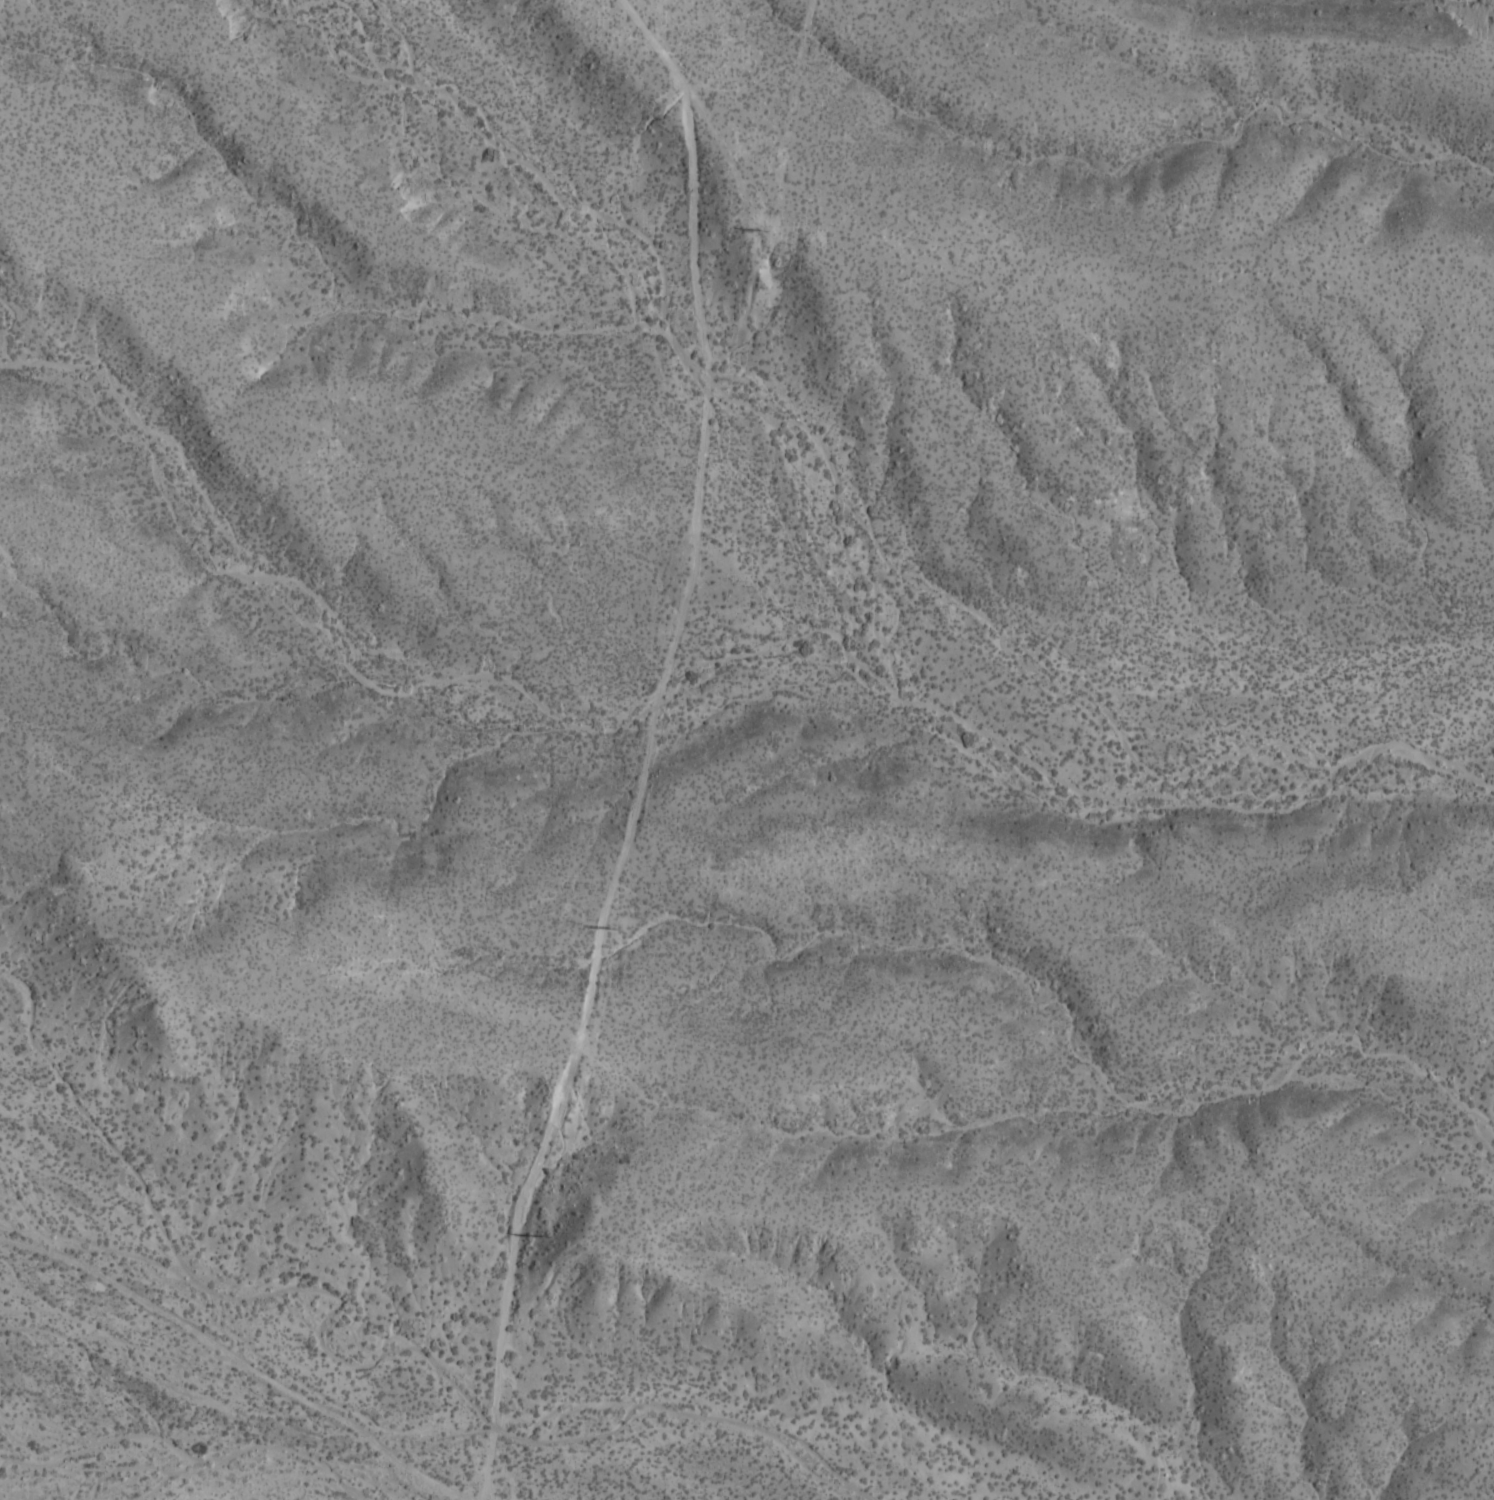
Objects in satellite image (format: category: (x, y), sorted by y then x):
road: (645, 748)
road: (237, 1360)

